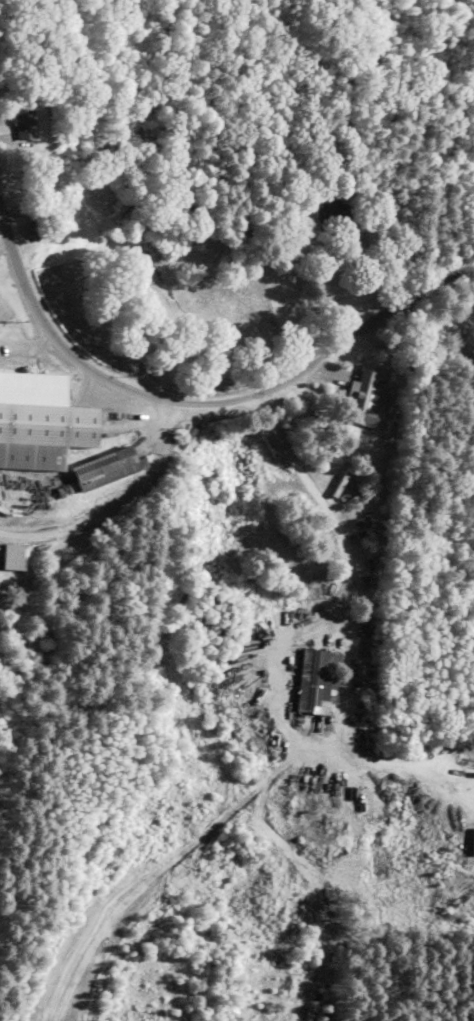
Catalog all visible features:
building: (28, 121)
building: (334, 213)
building: (38, 231)
building: (366, 398)
road: (210, 405)
building: (45, 419)
building: (112, 464)
building: (318, 679)

